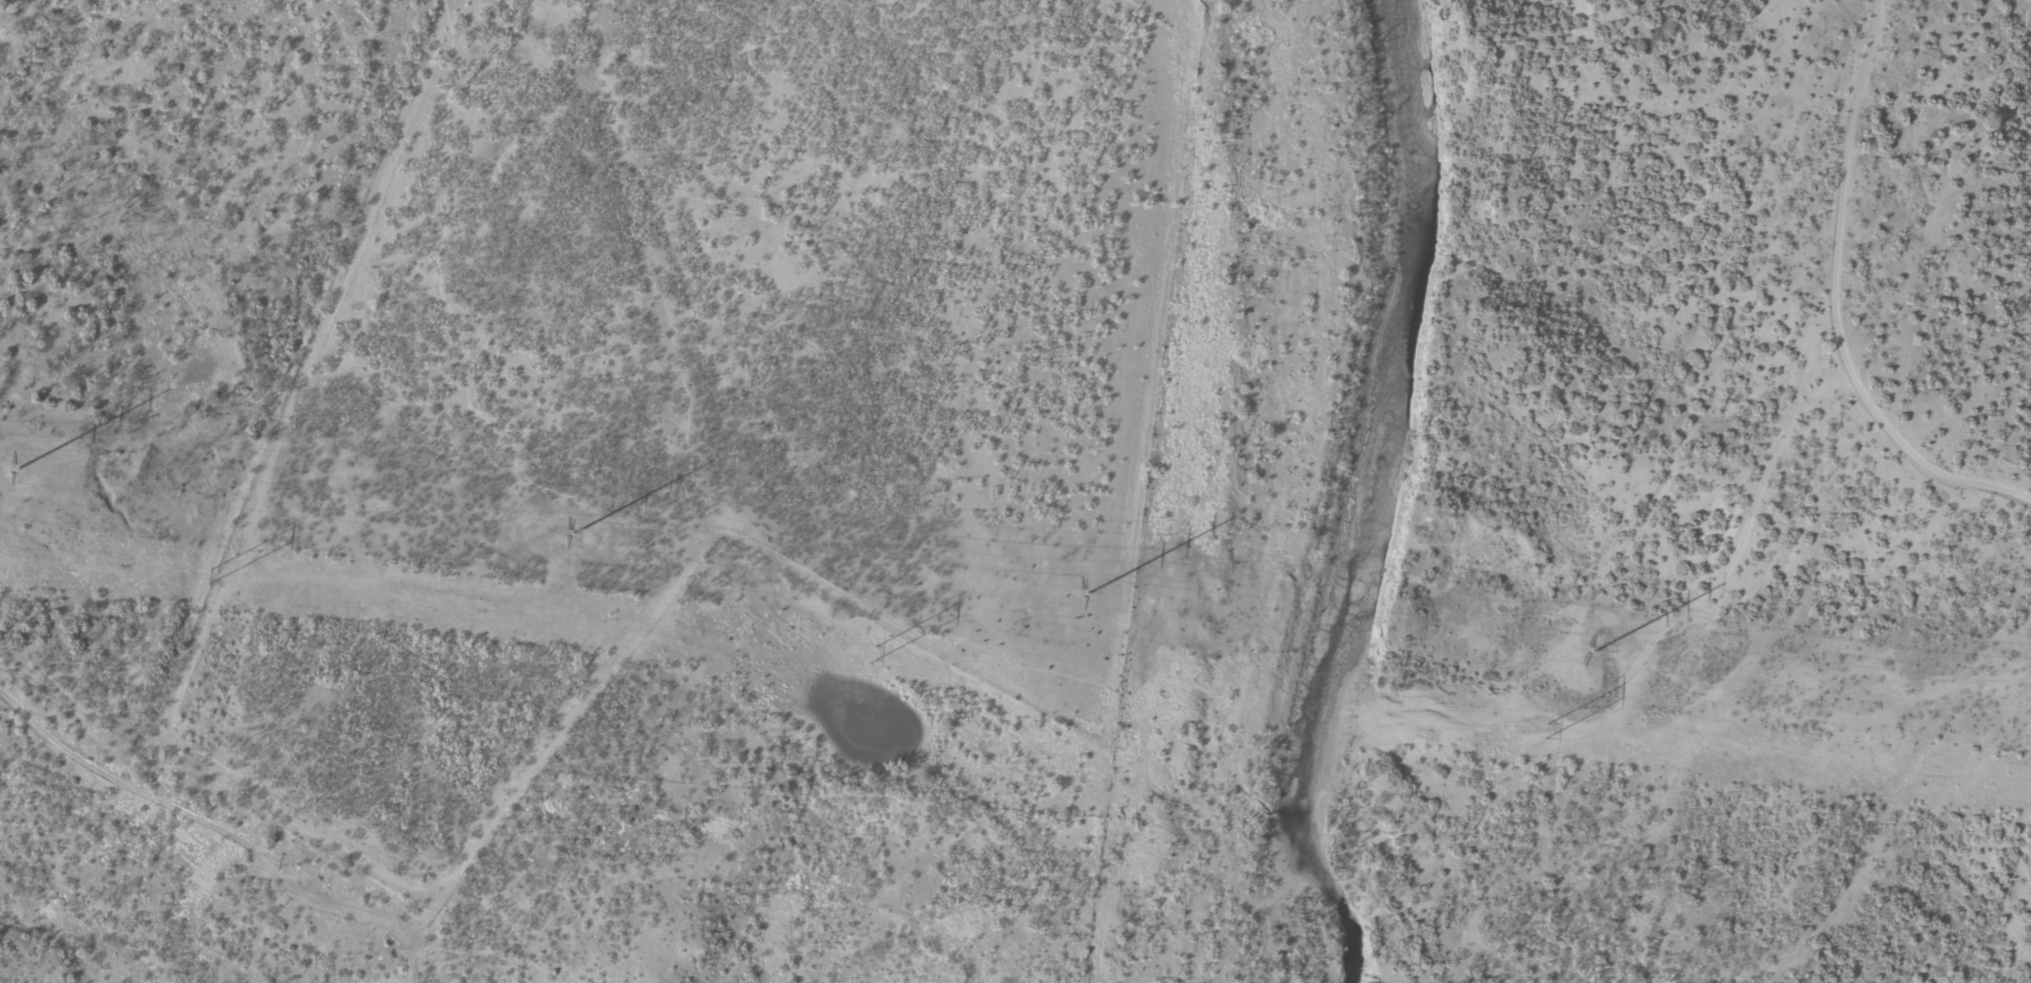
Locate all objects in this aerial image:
power tower: (16, 468)
river: (1371, 495)
road: (1726, 509)
power tower: (572, 533)
power tower: (208, 579)
power tower: (1086, 593)
power tower: (873, 652)
power tower: (1592, 652)
power tower: (1542, 729)

